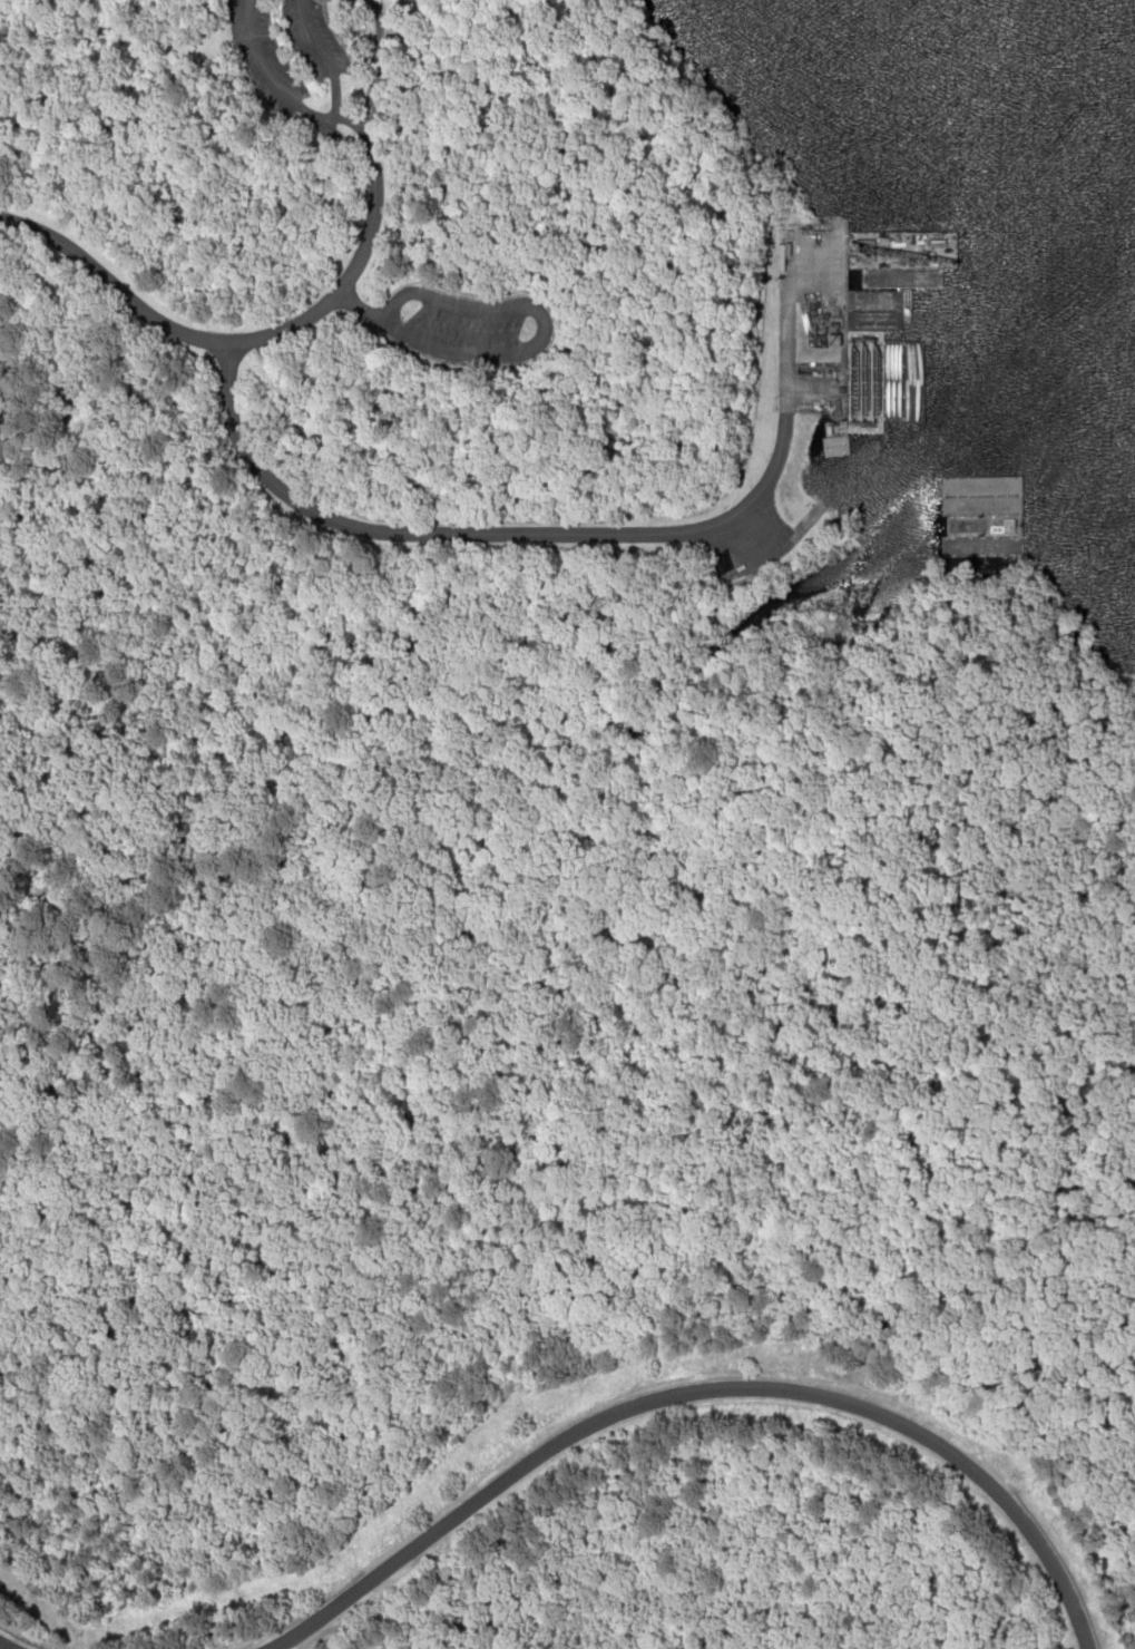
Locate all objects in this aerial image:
road: (342, 121)
road: (236, 339)
road: (544, 533)
road: (701, 1394)
road: (6, 1645)

